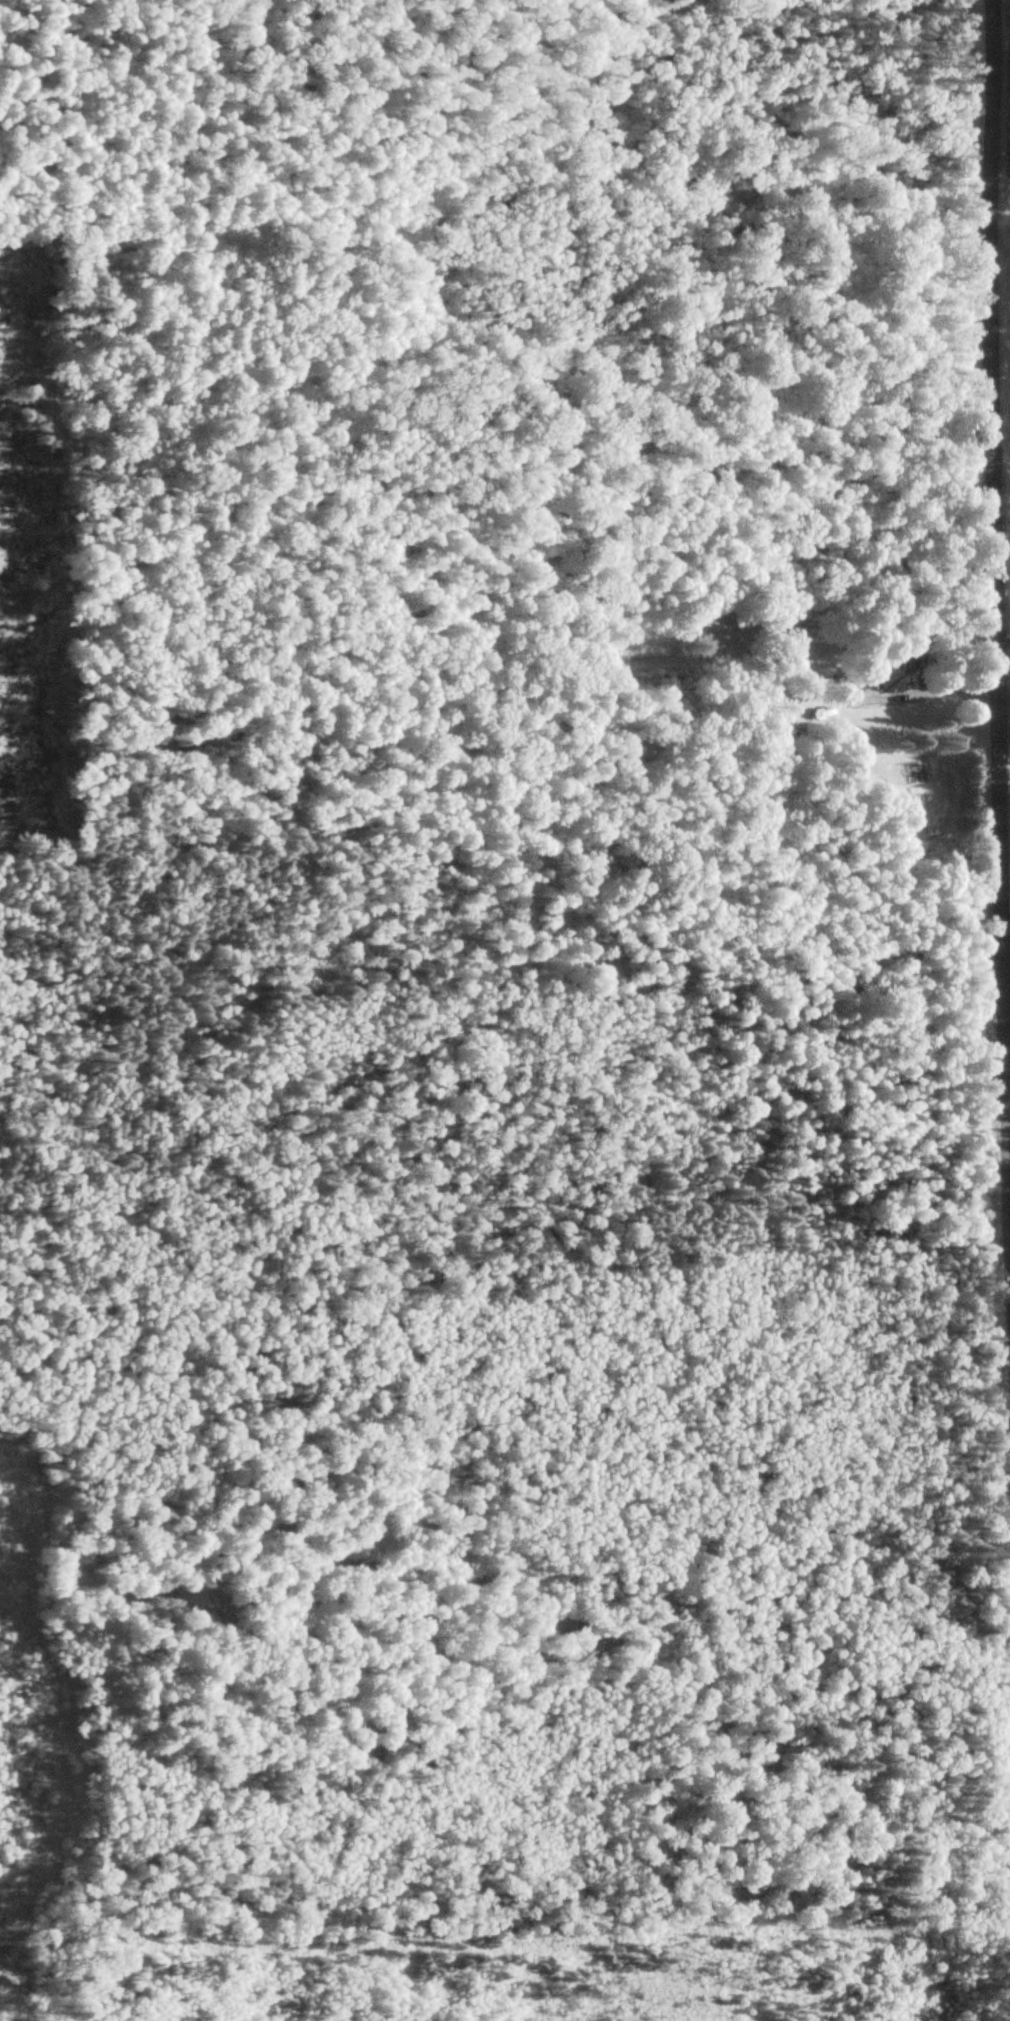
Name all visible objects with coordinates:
road: (993, 595)
building: (863, 679)
road: (924, 692)
road: (1008, 1087)

